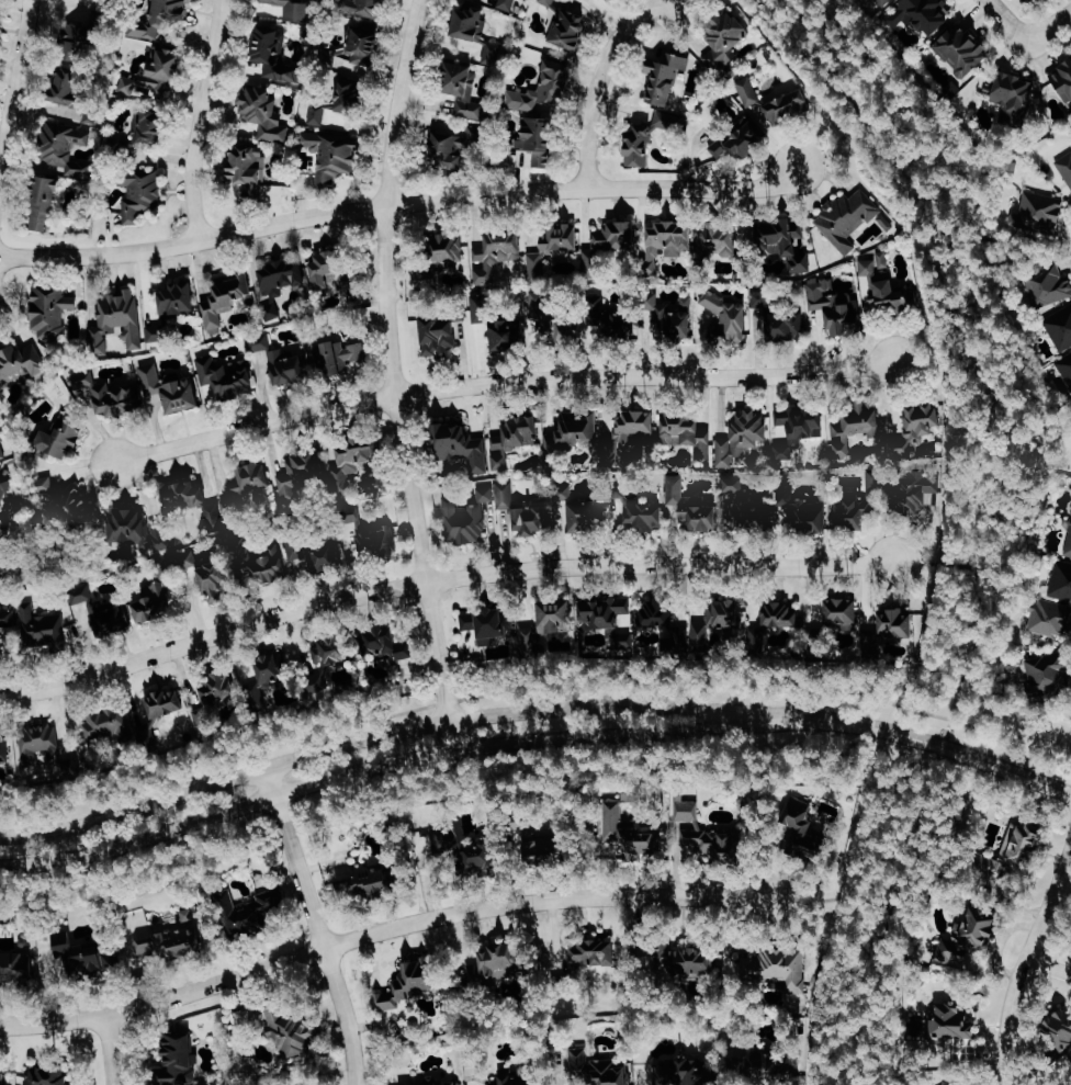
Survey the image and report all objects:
building: (615, 0)
building: (884, 2)
building: (506, 3)
building: (364, 7)
building: (293, 10)
building: (922, 14)
building: (164, 16)
road: (1005, 19)
building: (471, 24)
road: (1048, 25)
building: (568, 27)
building: (91, 33)
building: (725, 41)
building: (359, 47)
building: (962, 48)
building: (275, 53)
building: (156, 76)
building: (668, 76)
building: (1064, 80)
road: (598, 83)
road: (14, 87)
building: (463, 88)
building: (80, 89)
building: (543, 89)
building: (749, 91)
building: (1014, 93)
building: (789, 105)
building: (264, 112)
road: (199, 118)
building: (150, 125)
building: (540, 139)
building: (739, 143)
road: (831, 145)
building: (640, 146)
building: (449, 148)
building: (67, 150)
building: (332, 156)
building: (250, 167)
building: (1067, 169)
building: (140, 192)
building: (46, 202)
road: (397, 204)
building: (1040, 213)
building: (847, 215)
building: (615, 235)
building: (725, 240)
building: (786, 241)
building: (553, 247)
building: (448, 250)
building: (495, 255)
road: (1018, 258)
building: (883, 259)
building: (594, 265)
building: (869, 267)
building: (331, 272)
building: (281, 279)
building: (1049, 286)
building: (892, 294)
building: (762, 298)
building: (179, 299)
building: (224, 299)
building: (837, 306)
building: (52, 308)
building: (482, 308)
building: (551, 314)
building: (728, 317)
building: (676, 320)
building: (117, 321)
building: (611, 321)
building: (788, 325)
building: (1060, 326)
building: (157, 332)
building: (508, 334)
building: (439, 336)
building: (338, 355)
building: (21, 362)
road: (935, 365)
building: (1067, 366)
road: (393, 374)
building: (226, 380)
road: (504, 382)
building: (172, 387)
building: (106, 394)
building: (798, 428)
building: (856, 428)
building: (918, 429)
building: (631, 432)
building: (687, 433)
building: (571, 434)
building: (742, 437)
building: (63, 439)
building: (487, 442)
building: (3, 448)
building: (32, 461)
building: (354, 466)
building: (302, 475)
building: (251, 478)
building: (7, 481)
building: (733, 484)
building: (915, 490)
building: (184, 495)
road: (974, 496)
building: (691, 507)
building: (80, 508)
building: (800, 508)
building: (475, 512)
building: (644, 512)
building: (856, 512)
building: (753, 513)
building: (585, 515)
building: (232, 517)
building: (215, 518)
building: (530, 519)
building: (142, 529)
building: (372, 534)
building: (1069, 546)
building: (328, 555)
building: (185, 560)
building: (260, 562)
road: (933, 562)
building: (215, 580)
road: (439, 580)
building: (1061, 580)
building: (157, 600)
building: (104, 612)
building: (845, 612)
building: (781, 614)
building: (559, 615)
building: (610, 617)
building: (1050, 618)
building: (728, 619)
building: (7, 622)
building: (491, 622)
building: (670, 626)
building: (891, 626)
building: (43, 628)
building: (533, 640)
building: (388, 645)
building: (332, 651)
building: (271, 669)
building: (1047, 673)
building: (223, 685)
road: (535, 686)
building: (162, 715)
building: (109, 726)
road: (392, 733)
building: (5, 745)
road: (936, 745)
building: (47, 750)
road: (392, 762)
building: (810, 829)
building: (632, 833)
building: (702, 836)
building: (450, 840)
building: (1021, 850)
building: (545, 854)
building: (483, 857)
building: (373, 880)
building: (246, 914)
road: (317, 926)
building: (978, 929)
road: (382, 933)
building: (172, 942)
building: (88, 954)
building: (594, 954)
building: (955, 958)
building: (504, 961)
road: (1025, 961)
building: (692, 963)
road: (1049, 963)
building: (18, 964)
building: (775, 968)
building: (956, 1021)
building: (1062, 1026)
building: (292, 1033)
road: (113, 1049)
building: (180, 1061)
road: (856, 1064)
building: (773, 1066)
building: (597, 1067)
building: (685, 1071)
building: (48, 1076)
building: (1, 1078)
building: (518, 1078)
building: (449, 1084)

